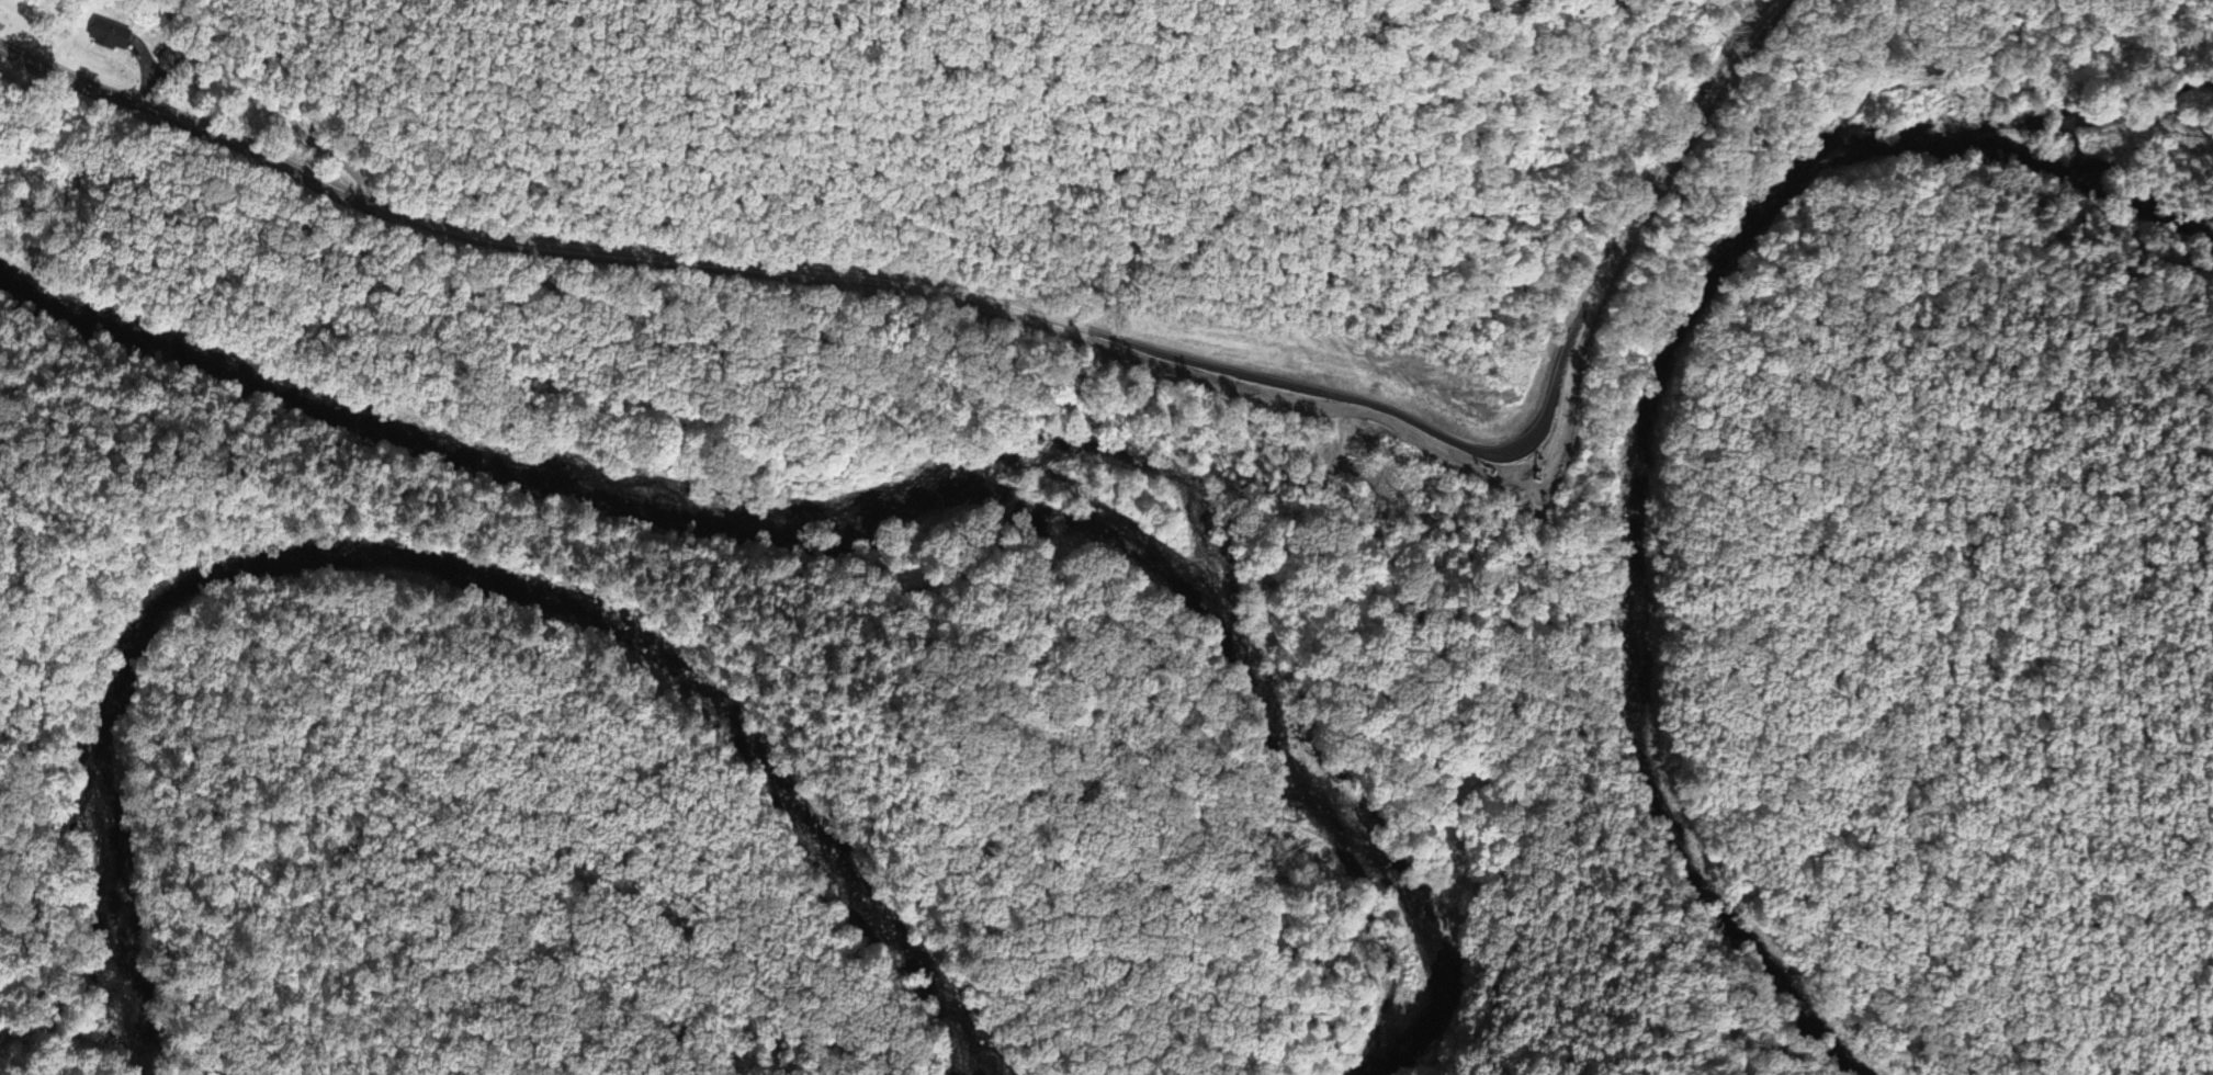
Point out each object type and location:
building: (111, 33)
building: (170, 57)
road: (291, 112)
road: (1030, 320)

